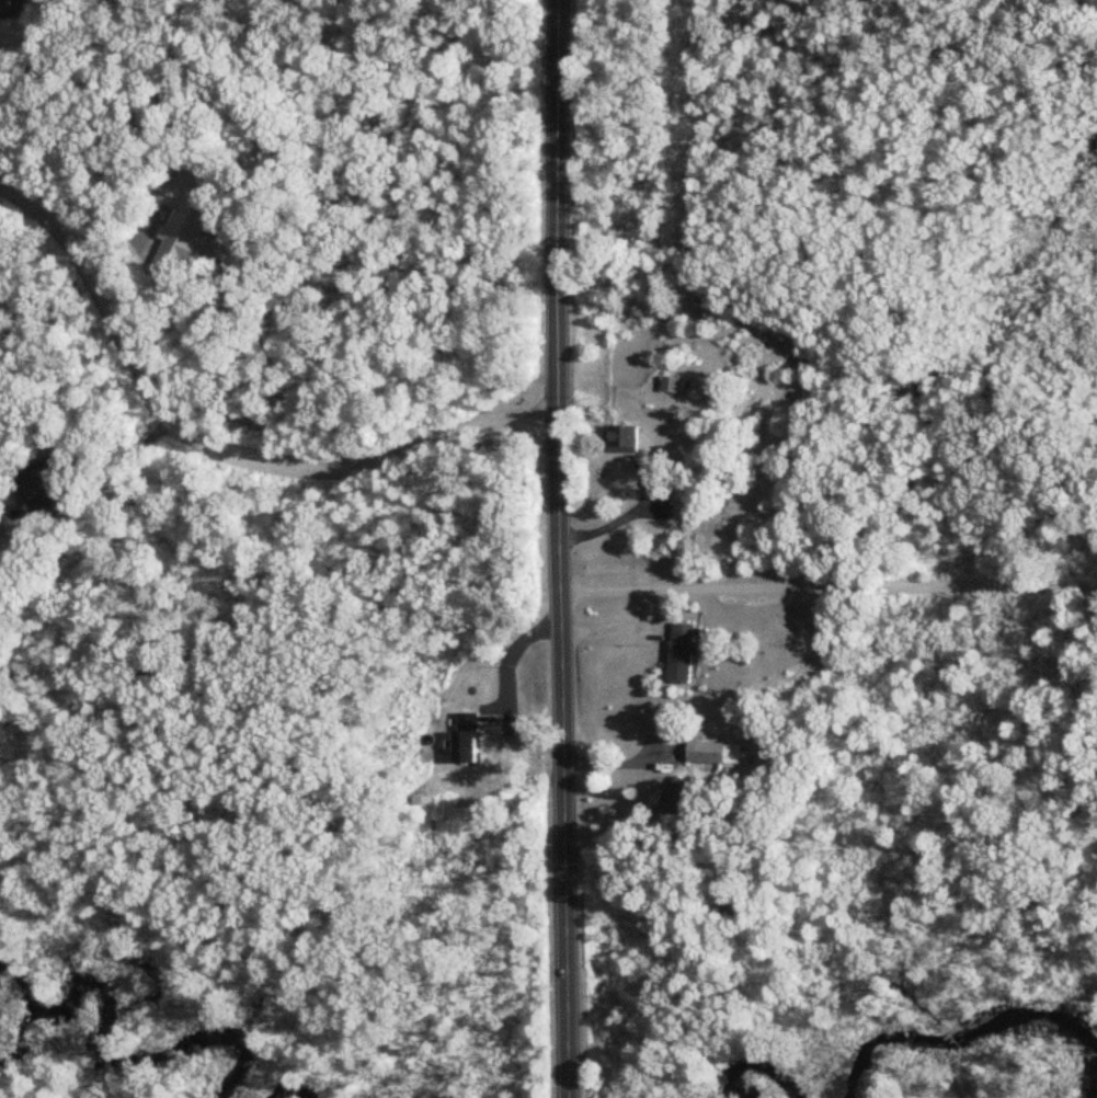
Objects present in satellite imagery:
building: (13, 9)
road: (32, 59)
building: (184, 237)
building: (672, 386)
building: (624, 441)
road: (219, 445)
road: (124, 461)
building: (39, 485)
road: (628, 515)
road: (564, 548)
road: (830, 586)
building: (682, 653)
building: (713, 753)
road: (626, 764)
building: (674, 800)

